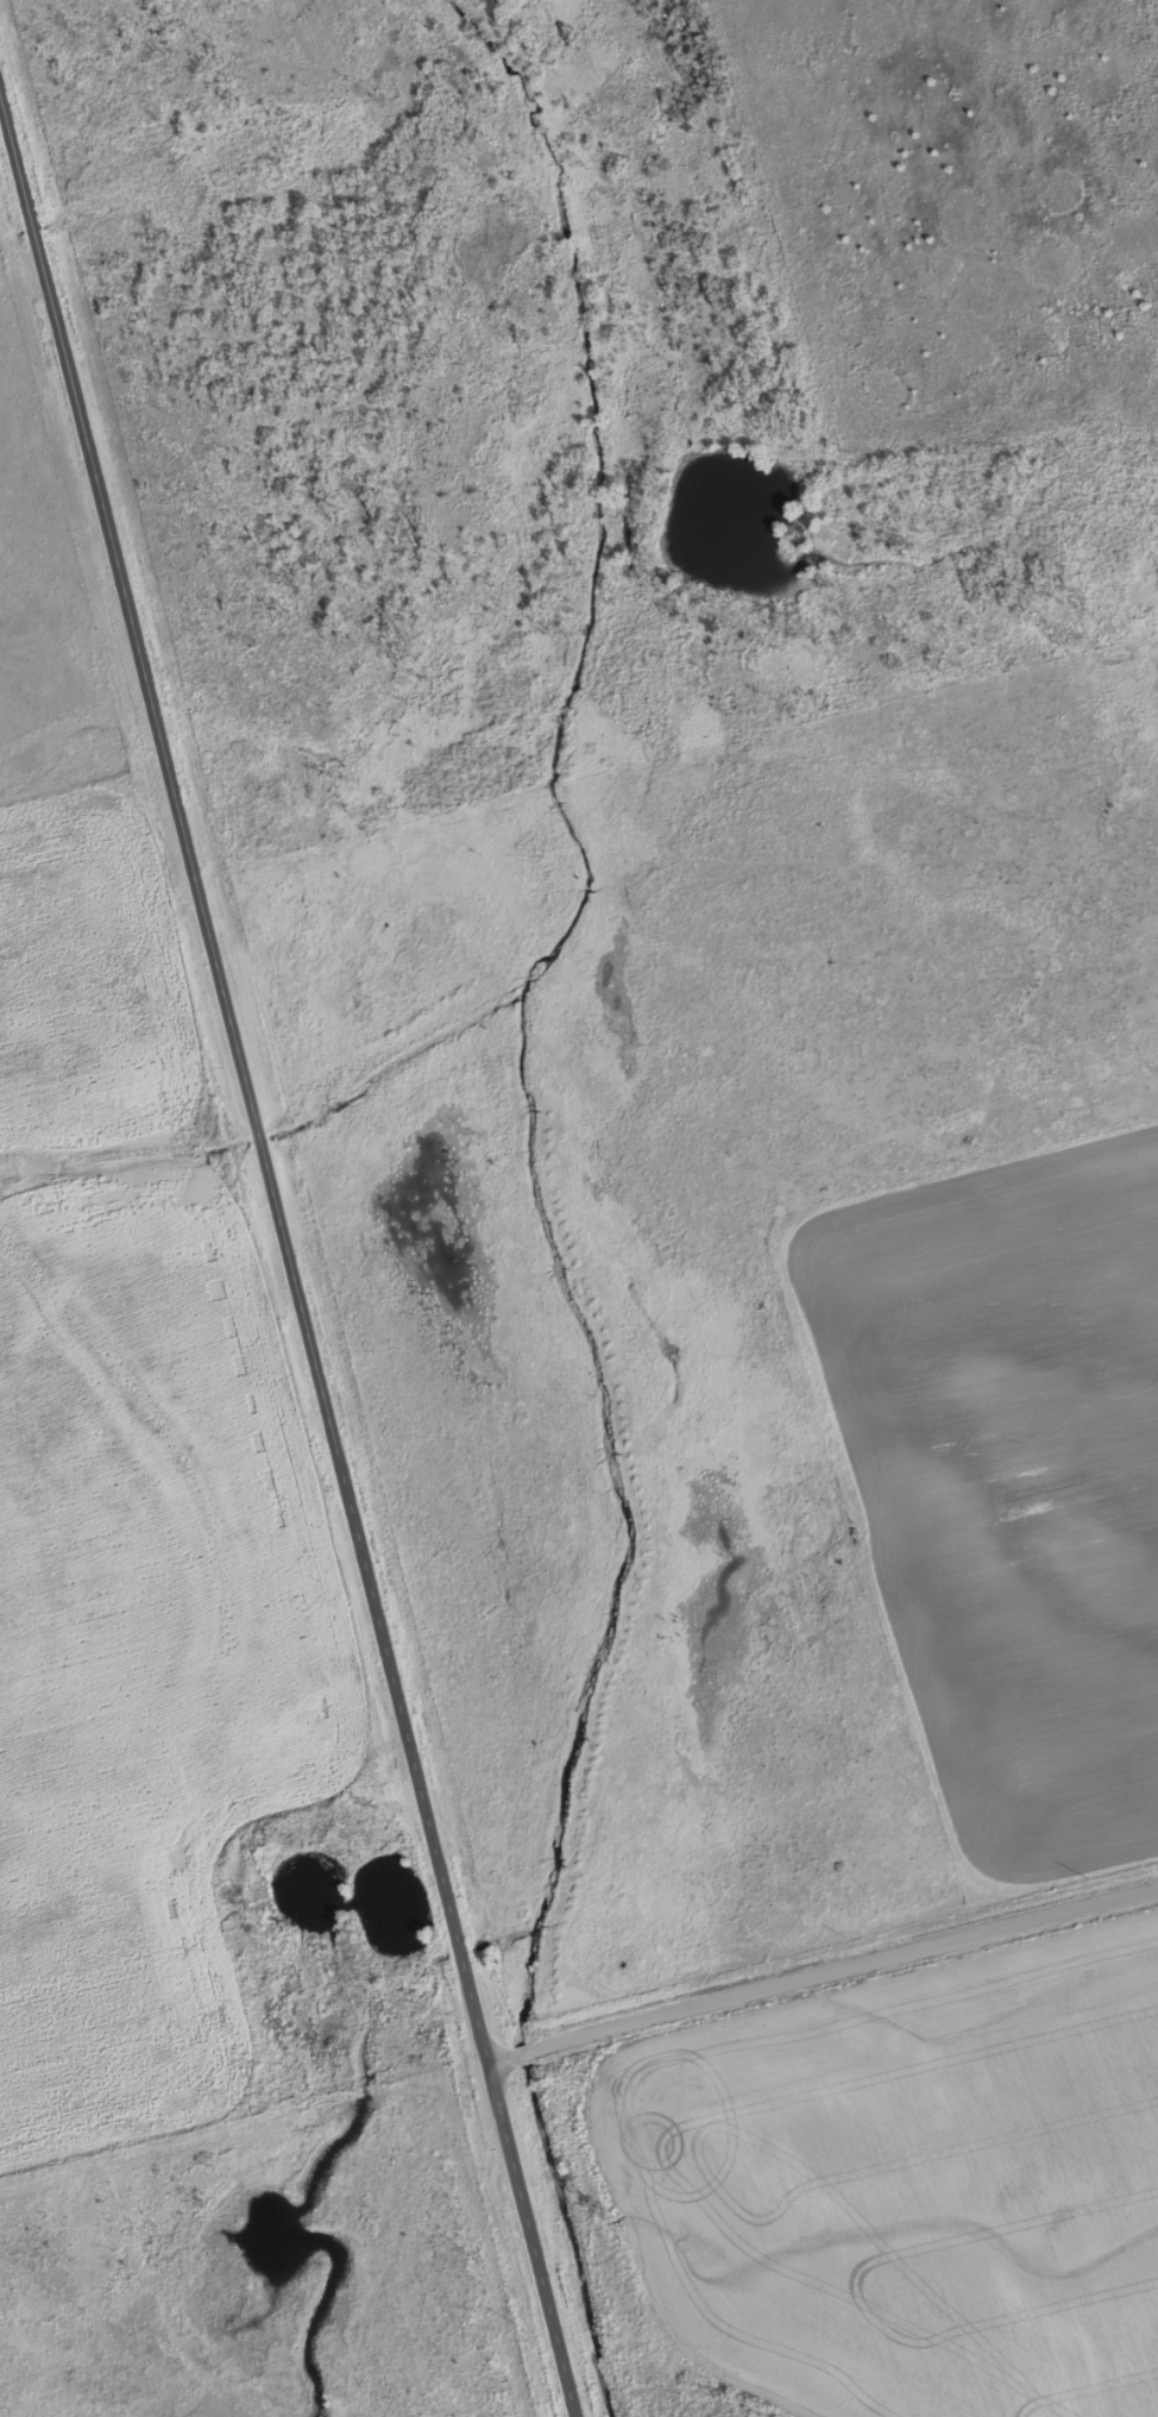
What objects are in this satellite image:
road: (288, 1258)
road: (823, 1972)

